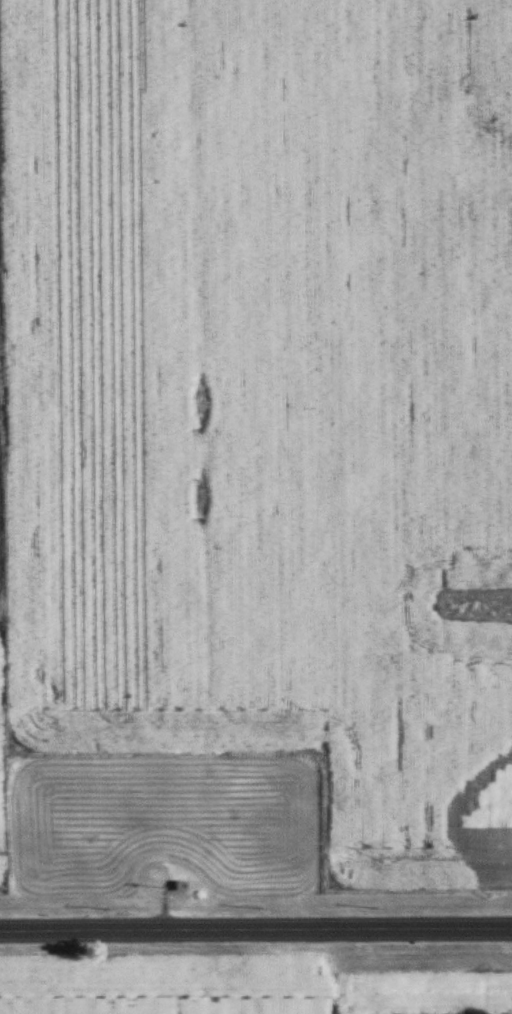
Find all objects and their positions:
crop: (266, 403)
crop: (0, 574)
crop: (1, 769)
road: (256, 928)
crop: (165, 978)
crop: (420, 992)

